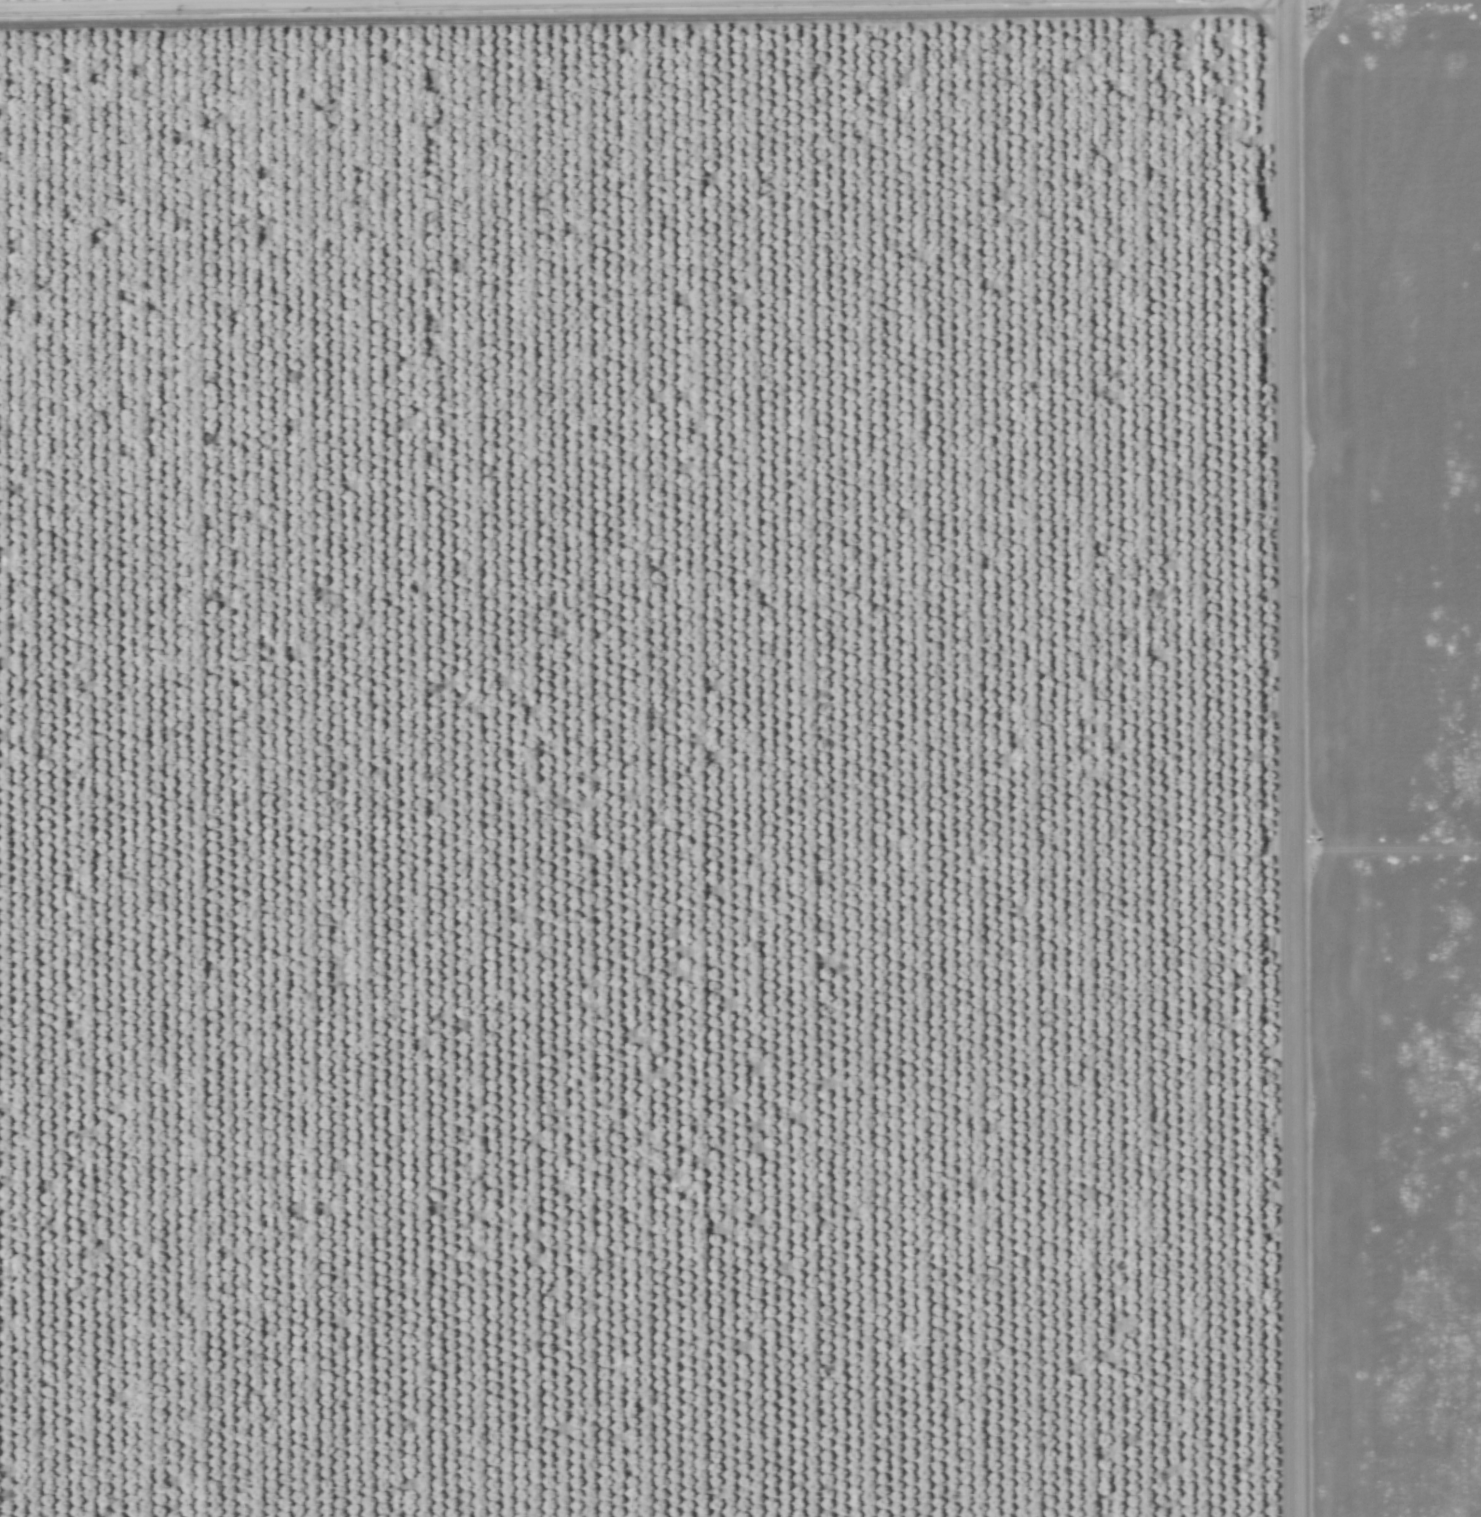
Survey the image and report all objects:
road: (435, 8)
crop: (1400, 743)
road: (1294, 758)

